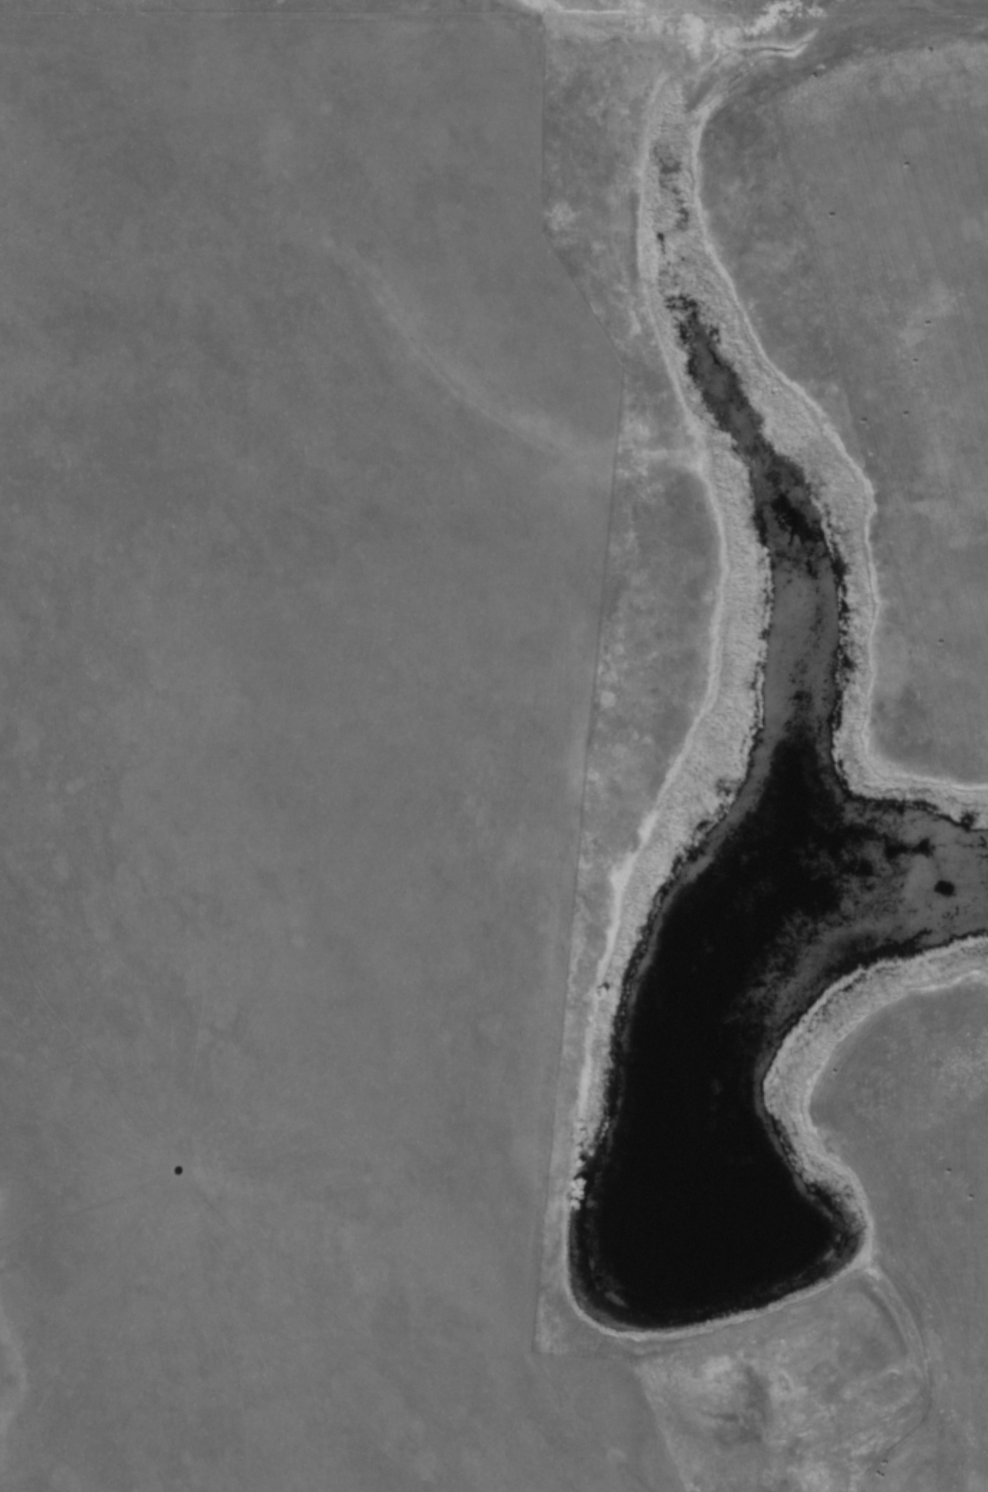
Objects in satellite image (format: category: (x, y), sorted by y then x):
dam: (740, 1314)

